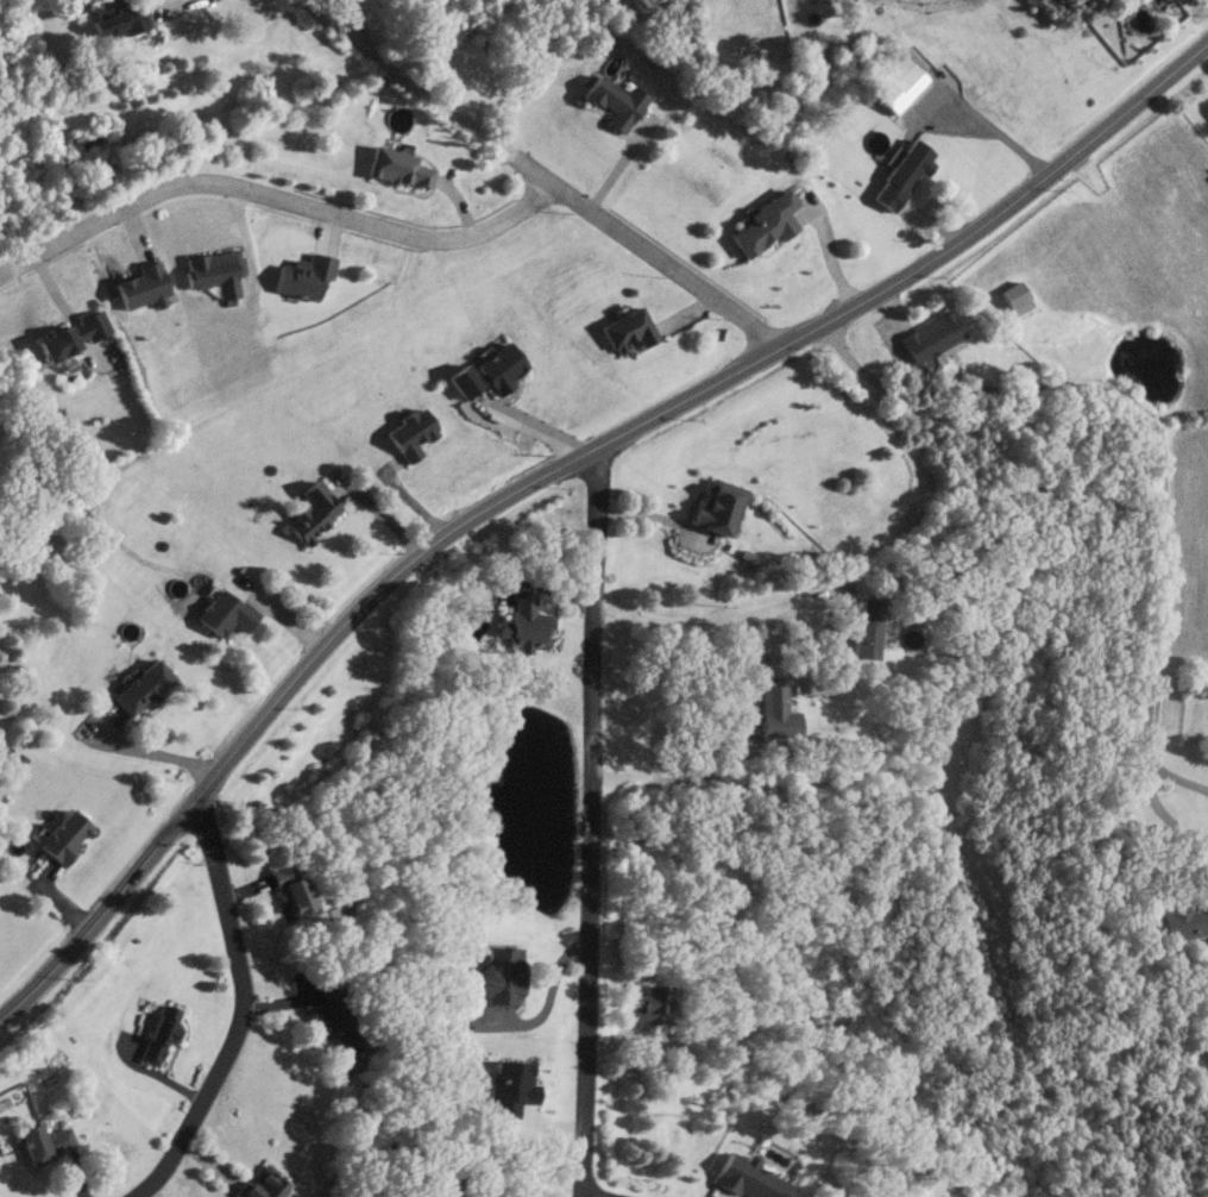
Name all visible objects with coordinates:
building: (1171, 2)
building: (122, 20)
building: (905, 77)
building: (616, 101)
road: (996, 132)
building: (397, 167)
road: (540, 171)
building: (901, 174)
road: (276, 202)
building: (763, 226)
building: (214, 271)
building: (304, 275)
building: (144, 287)
building: (1013, 297)
building: (624, 327)
building: (73, 334)
building: (927, 336)
building: (485, 371)
building: (408, 433)
road: (1162, 459)
road: (552, 468)
building: (713, 507)
building: (310, 513)
building: (220, 613)
building: (522, 621)
road: (700, 626)
building: (863, 627)
building: (138, 688)
building: (774, 713)
road: (145, 751)
road: (662, 765)
road: (1179, 776)
road: (587, 820)
building: (61, 836)
building: (288, 888)
building: (1181, 922)
building: (493, 976)
building: (642, 1005)
road: (244, 1010)
building: (331, 1023)
building: (157, 1034)
building: (44, 1142)
building: (742, 1178)
building: (258, 1185)
road: (592, 1195)

